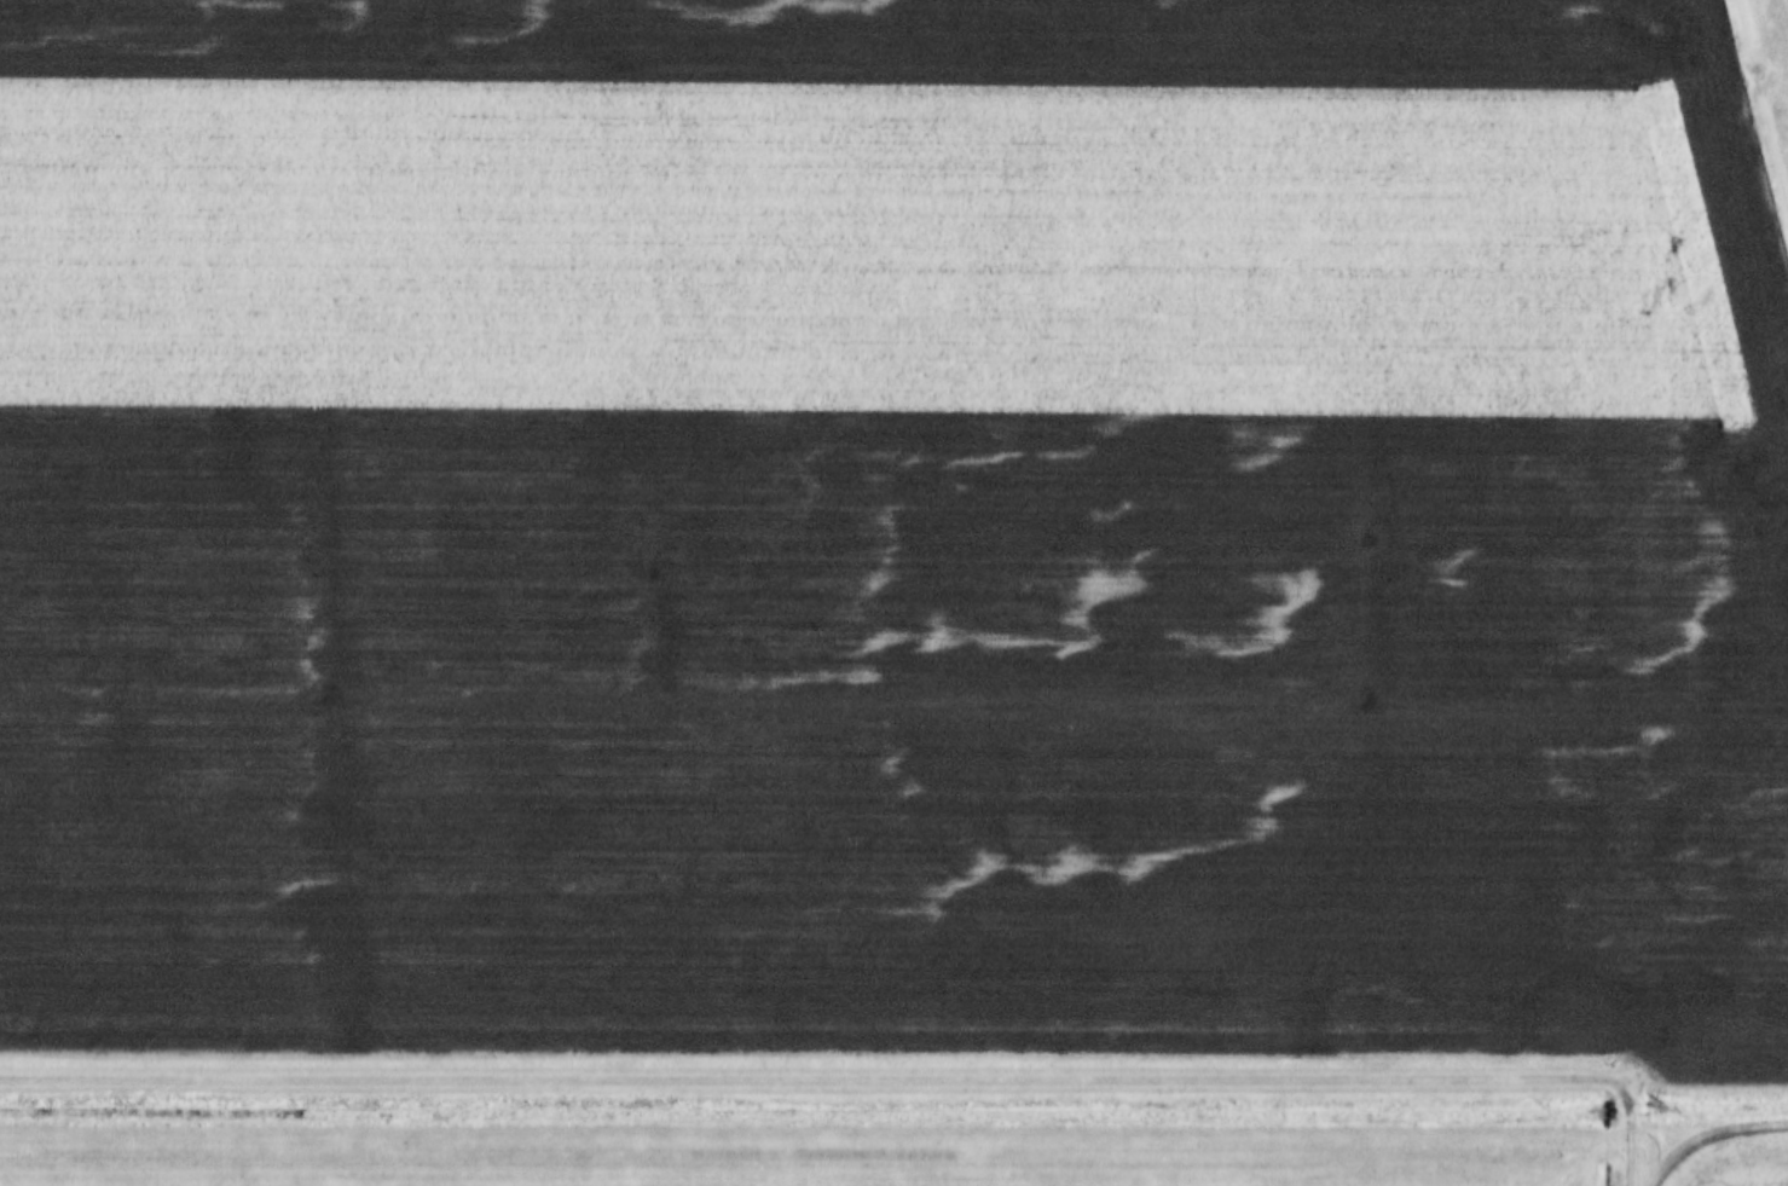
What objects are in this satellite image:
road: (811, 1087)
road: (1622, 1126)

